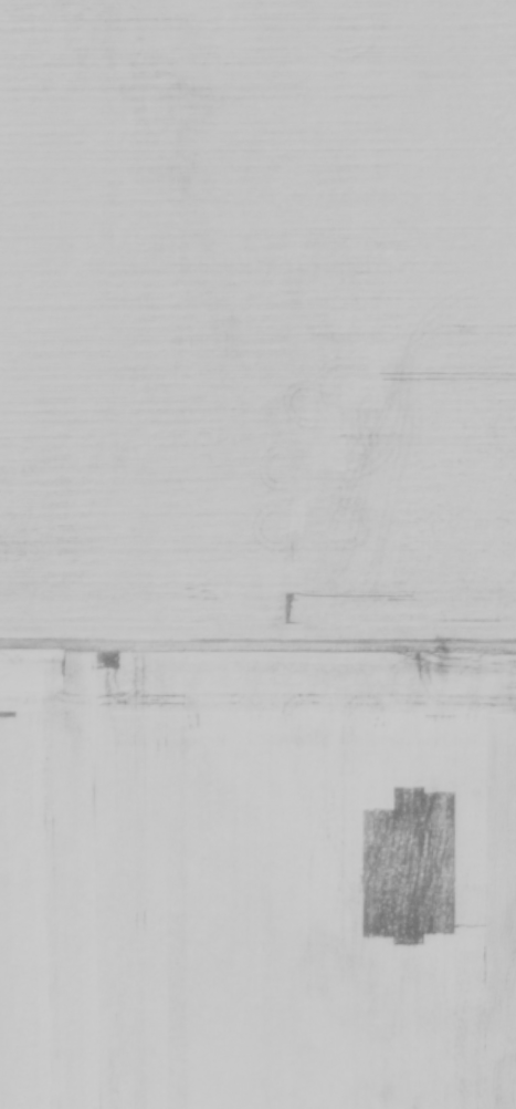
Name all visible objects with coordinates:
road: (257, 636)

